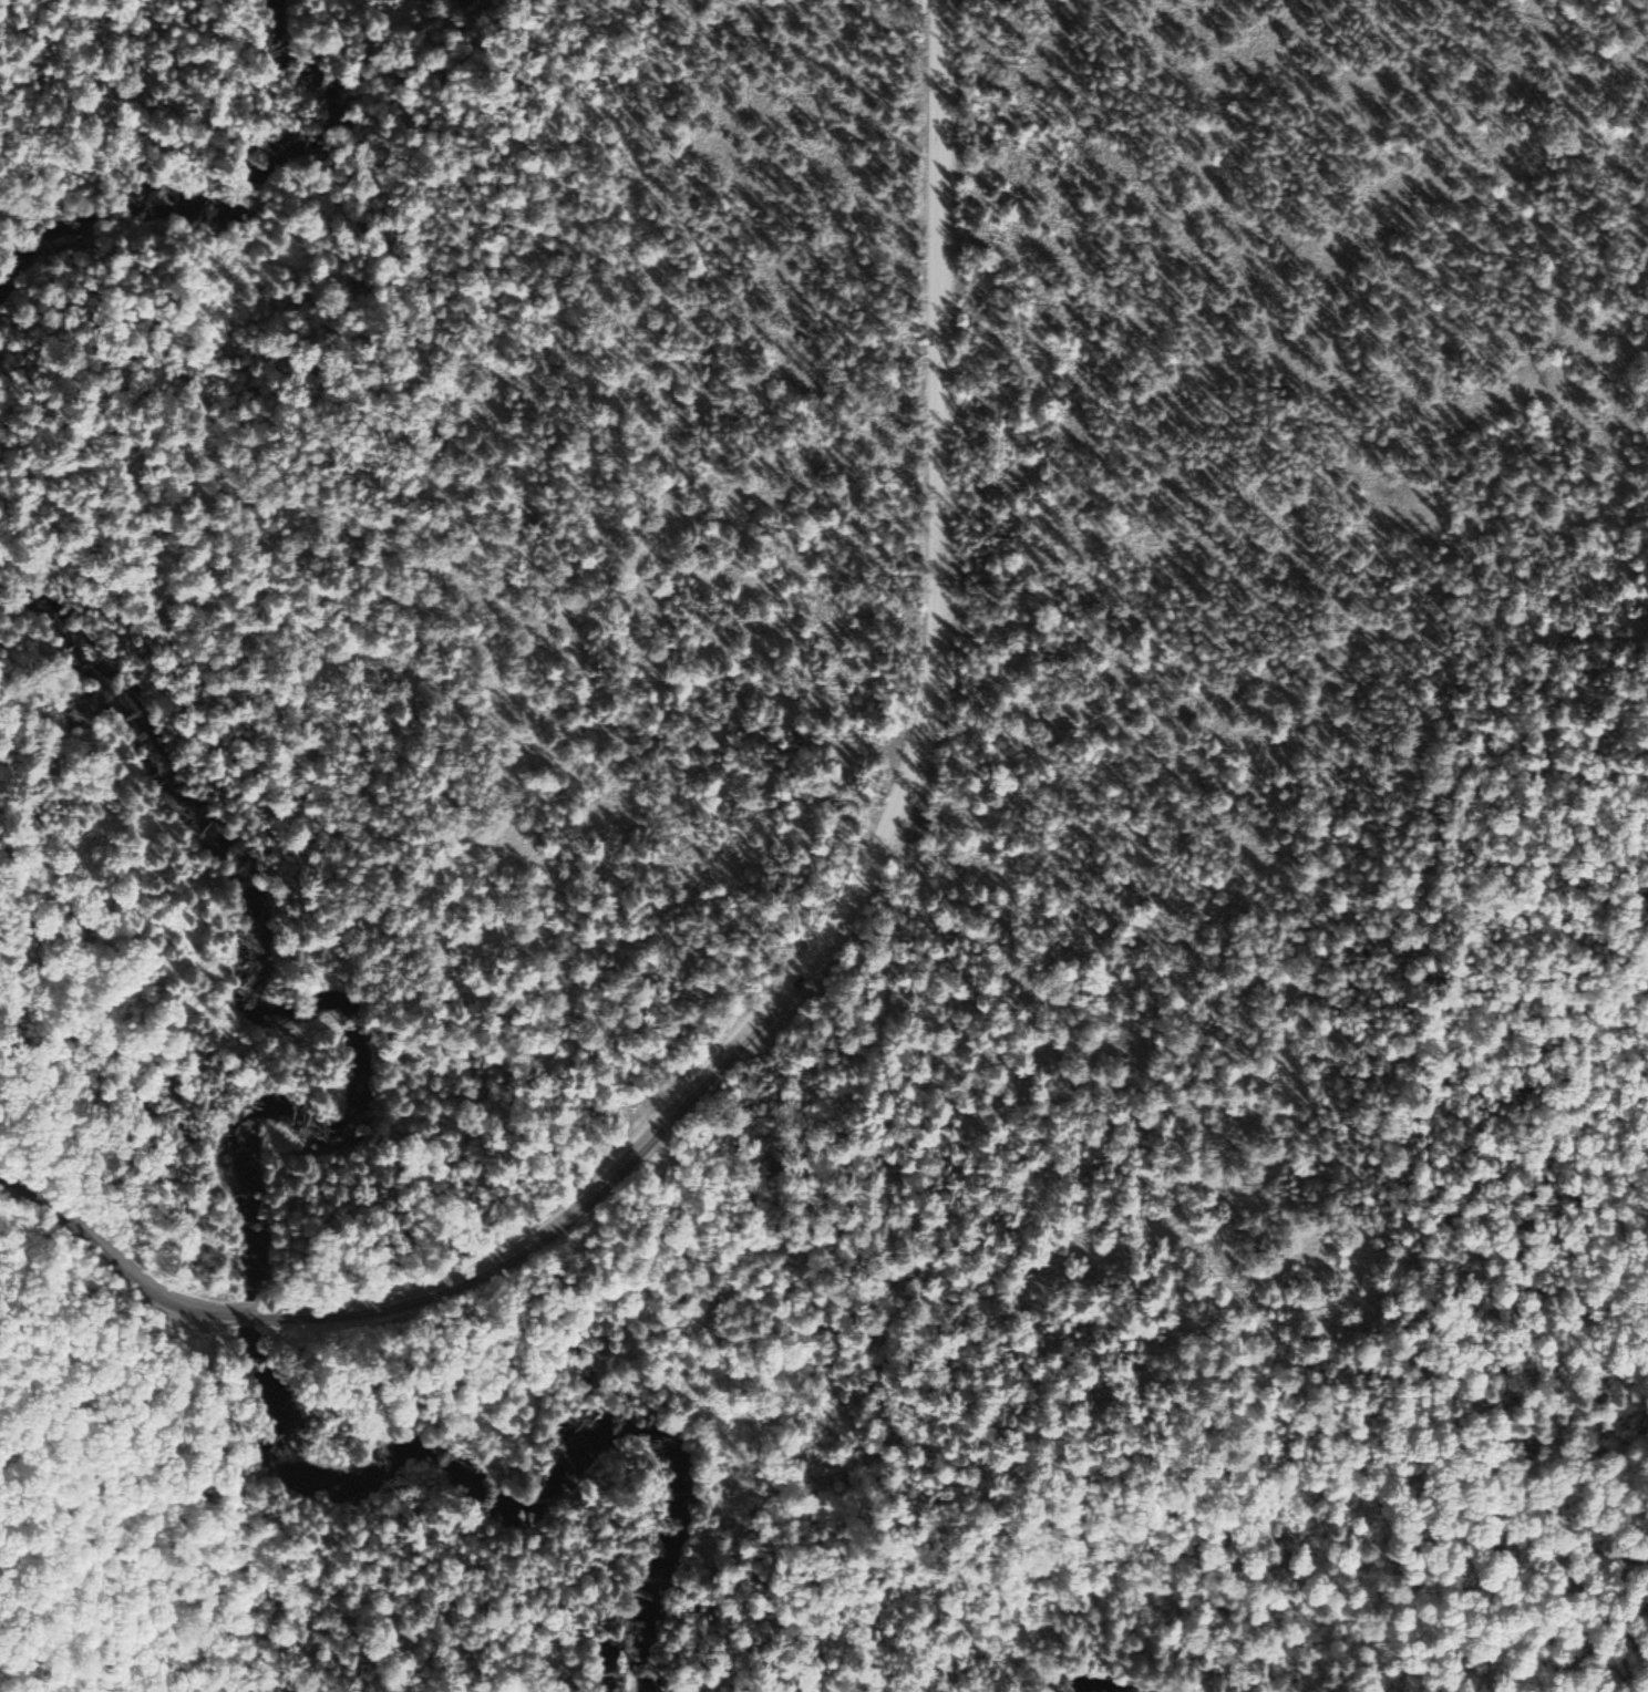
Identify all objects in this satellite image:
river: (238, 207)
road: (1367, 766)
road: (889, 832)
river: (297, 1019)
road: (111, 1255)
road: (245, 1314)
river: (544, 1489)

